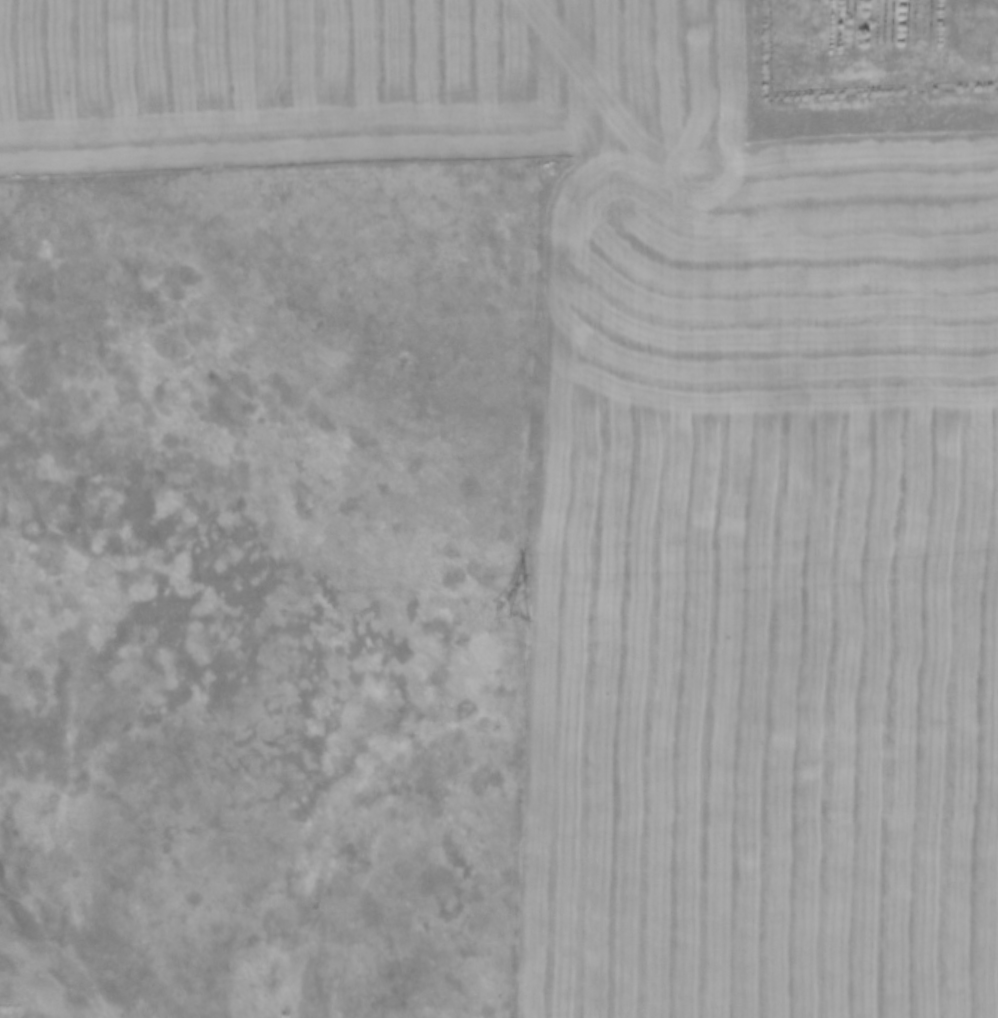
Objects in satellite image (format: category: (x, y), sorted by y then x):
power tower: (501, 615)

